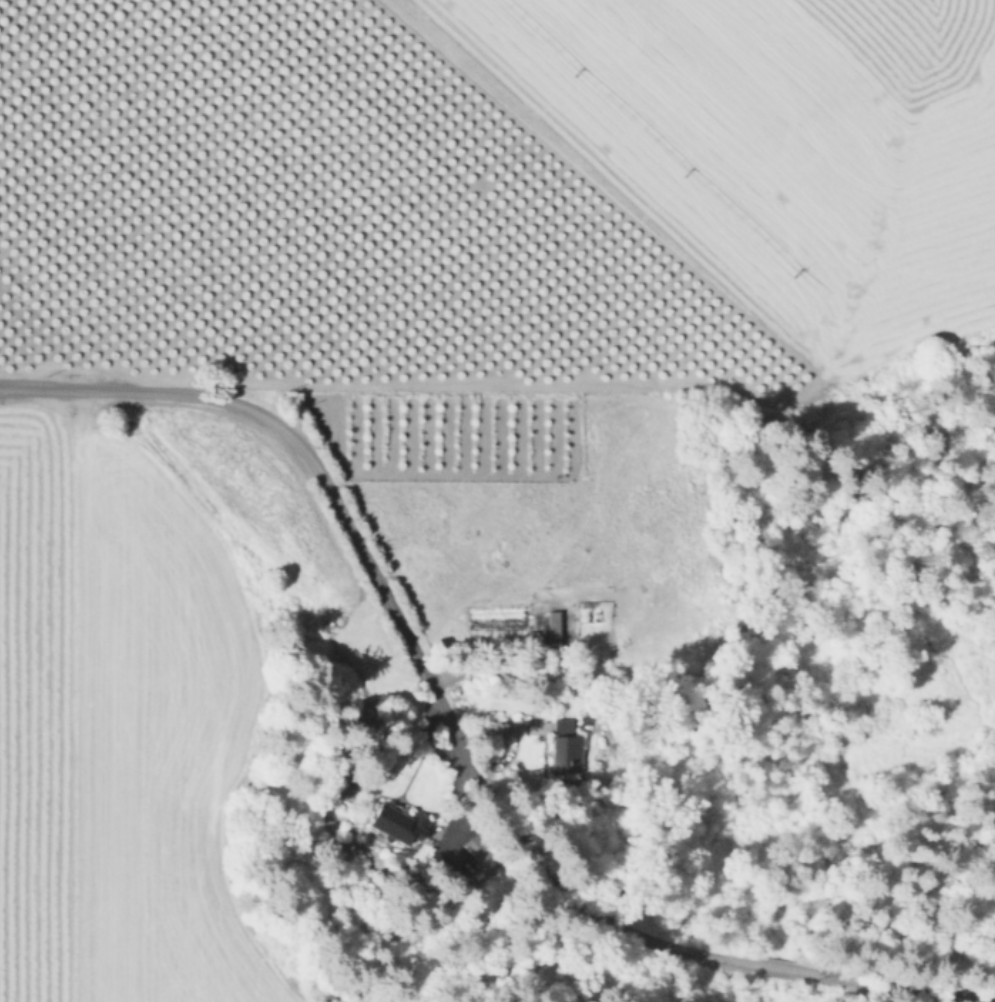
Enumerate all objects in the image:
crop: (399, 379)
road: (394, 616)
building: (553, 627)
building: (531, 638)
building: (566, 750)
building: (399, 822)
building: (478, 851)
road: (778, 969)
road: (908, 988)

